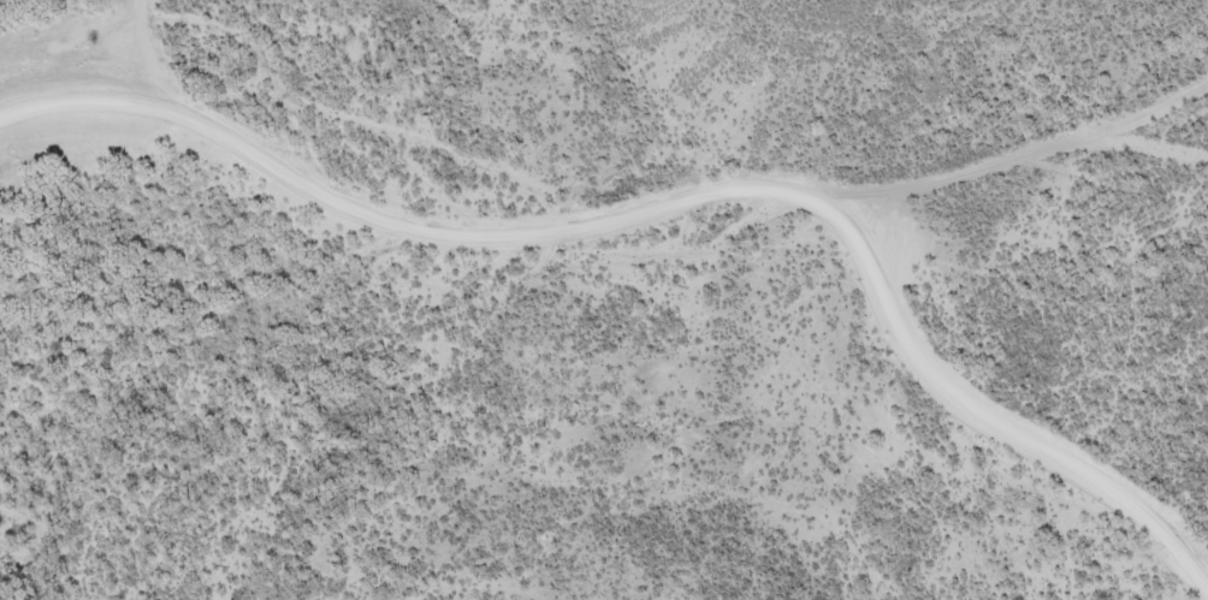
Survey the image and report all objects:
road: (126, 43)
road: (596, 230)
road: (991, 417)

